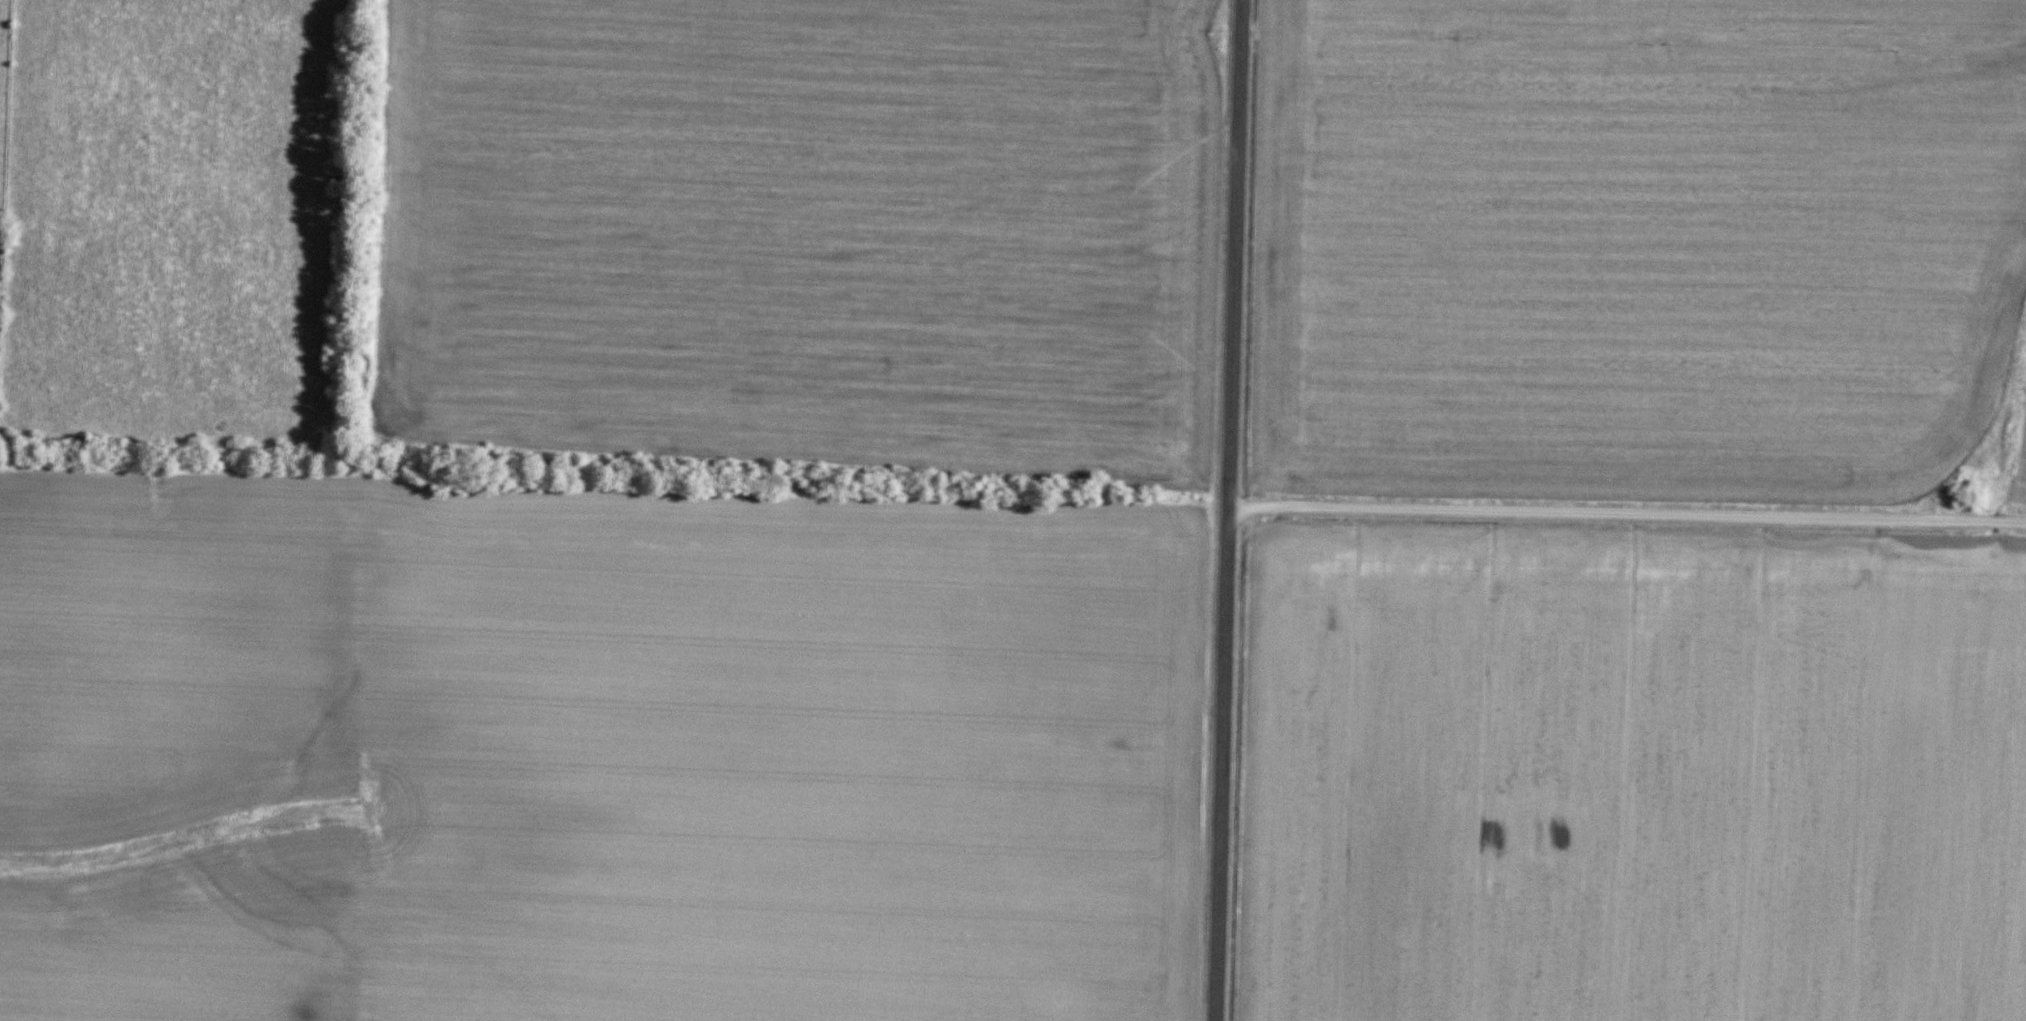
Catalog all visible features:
road: (1225, 510)
road: (1625, 520)

